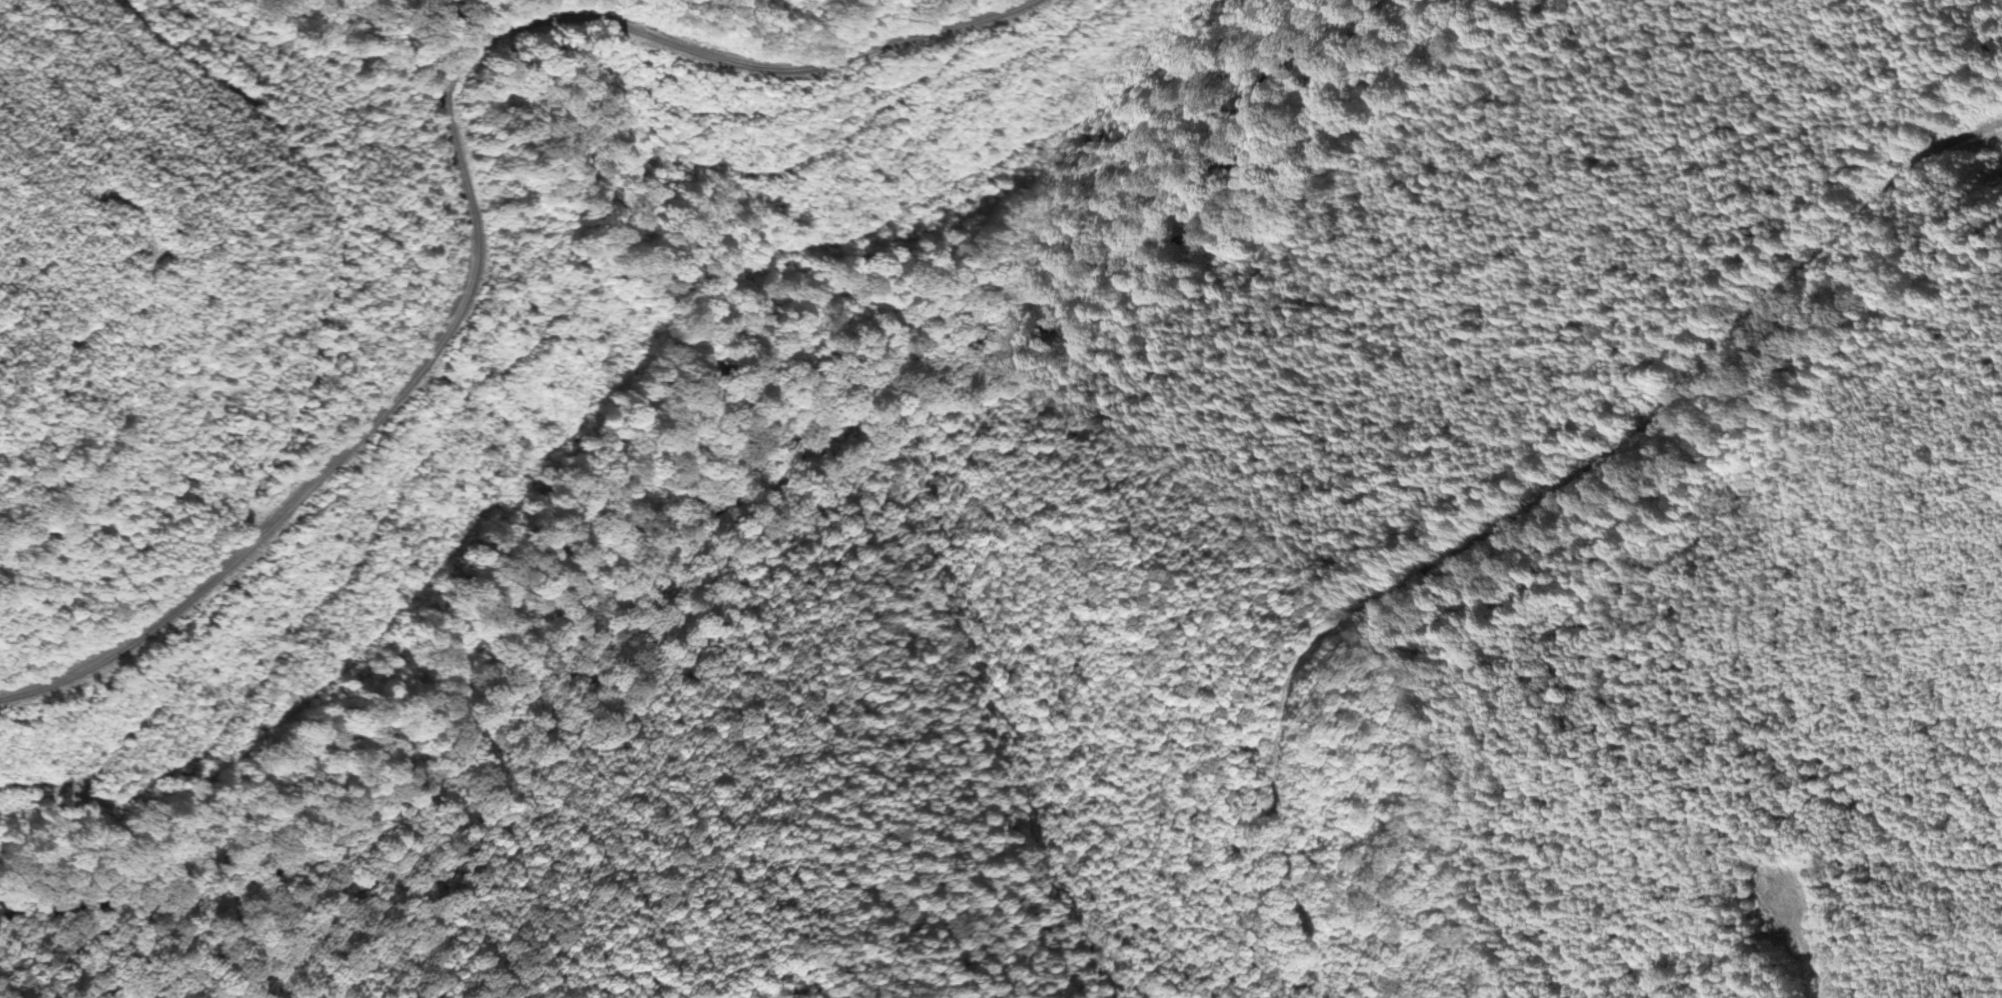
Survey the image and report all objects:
road: (871, 8)
road: (384, 418)
road: (1524, 466)

